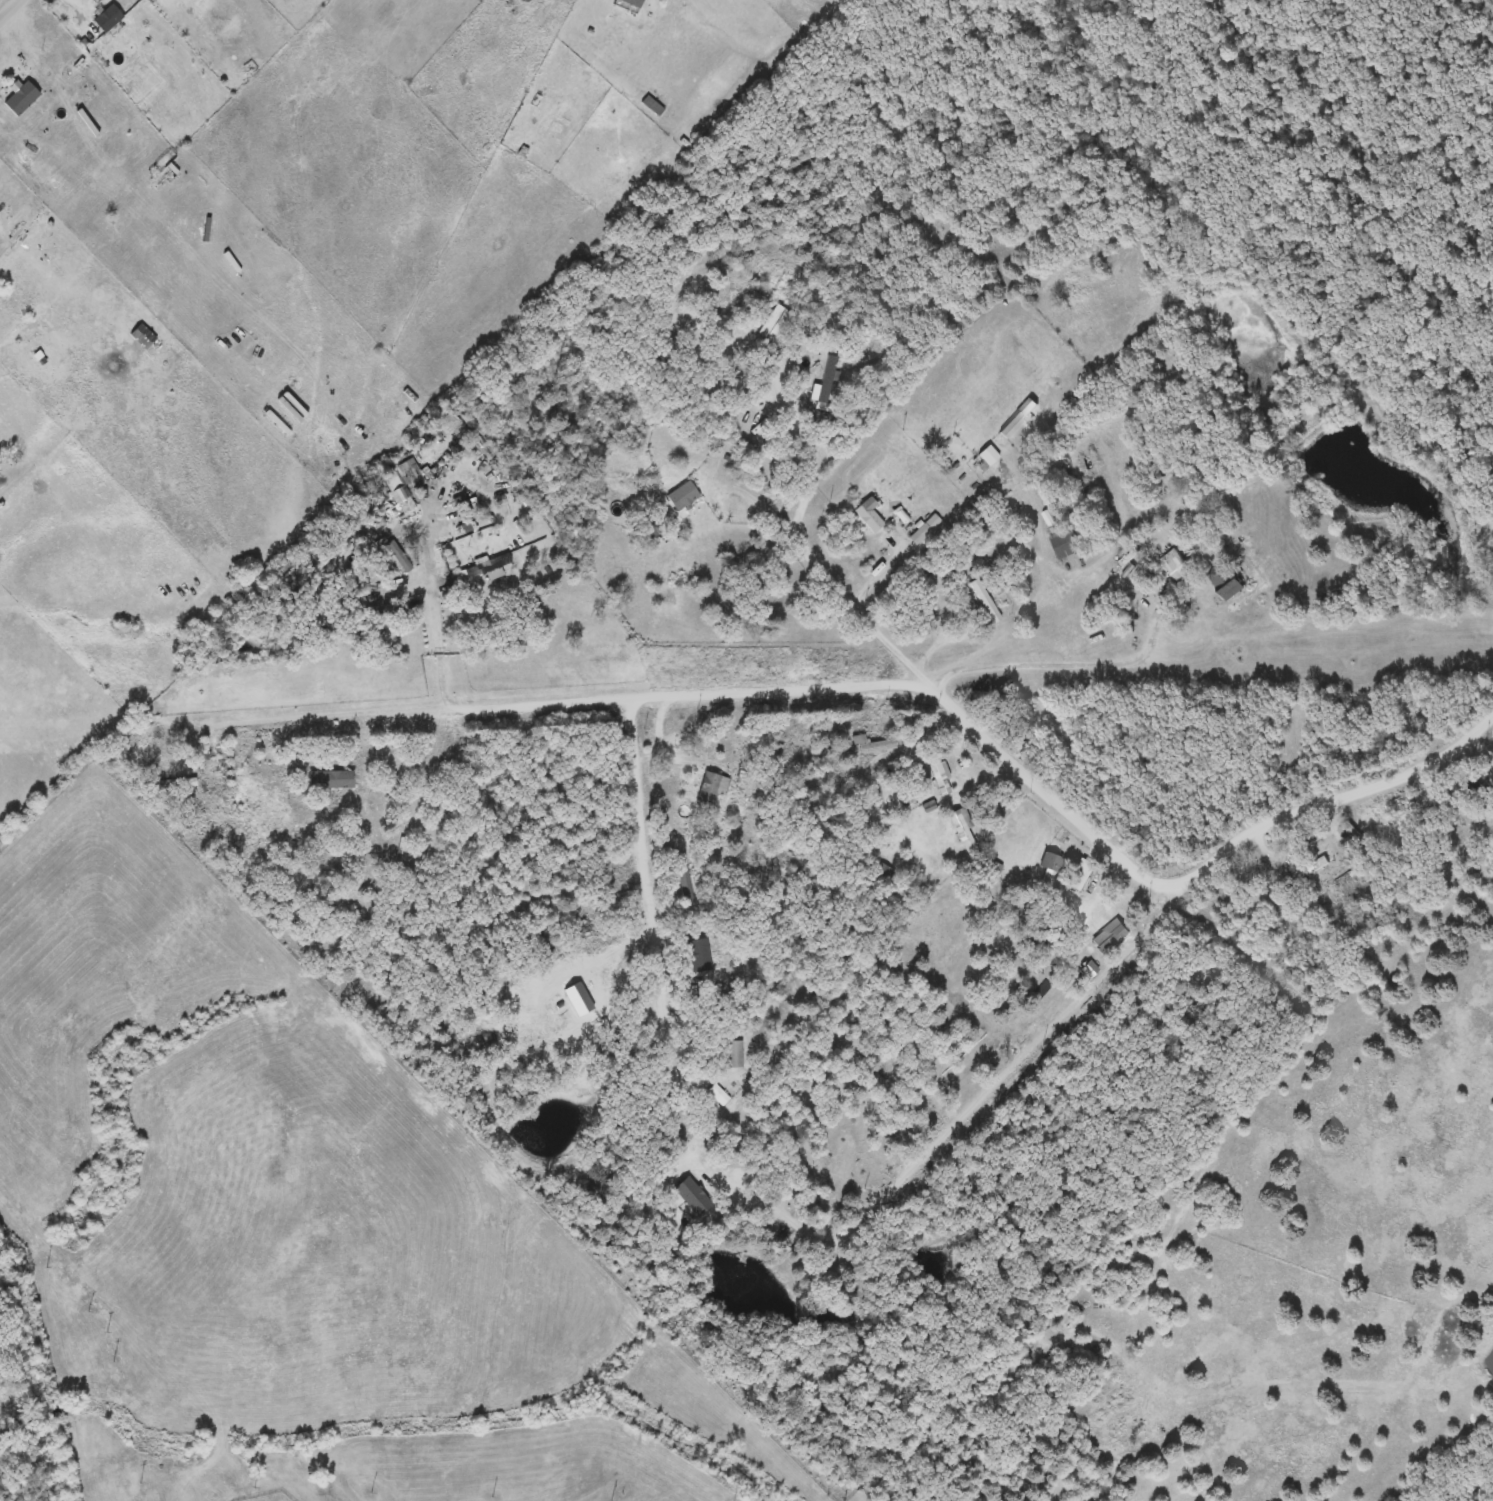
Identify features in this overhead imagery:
road: (804, 6)
road: (11, 11)
building: (107, 18)
building: (652, 106)
building: (774, 324)
building: (53, 362)
building: (397, 476)
building: (684, 496)
road: (760, 501)
building: (868, 517)
building: (1064, 544)
building: (480, 571)
building: (1223, 582)
building: (985, 601)
building: (384, 611)
road: (436, 640)
road: (904, 660)
road: (431, 709)
road: (1490, 727)
road: (657, 735)
building: (870, 745)
building: (387, 778)
building: (940, 778)
building: (330, 779)
building: (169, 784)
building: (708, 790)
road: (1450, 797)
road: (1260, 807)
building: (1492, 813)
road: (1072, 815)
building: (961, 829)
building: (1352, 836)
road: (1096, 846)
building: (1052, 865)
building: (1310, 870)
building: (1081, 875)
building: (682, 880)
road: (651, 916)
building: (1109, 937)
building: (731, 1055)
road: (976, 1107)

